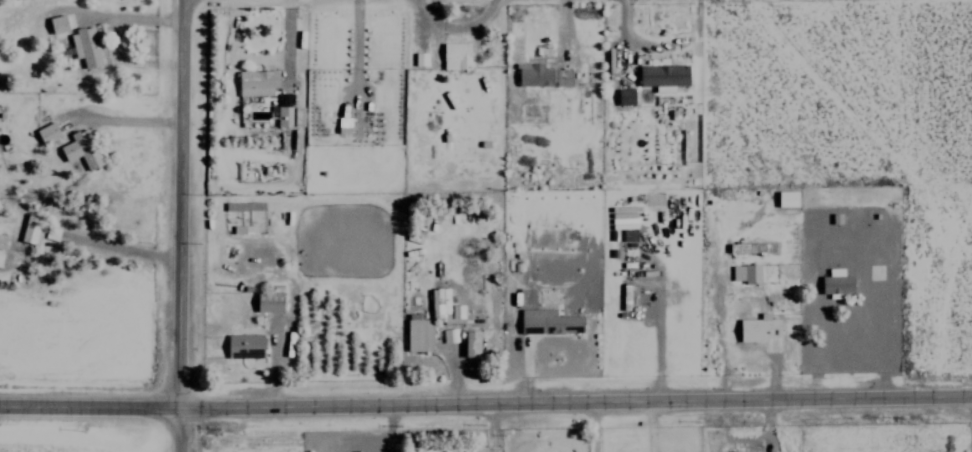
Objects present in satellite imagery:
building: (57, 23)
building: (85, 46)
building: (455, 55)
building: (419, 58)
building: (542, 75)
building: (663, 76)
building: (257, 82)
building: (625, 96)
building: (290, 116)
building: (47, 132)
building: (82, 149)
building: (787, 198)
road: (179, 204)
building: (32, 229)
building: (244, 229)
building: (2, 240)
building: (746, 247)
building: (0, 257)
building: (751, 273)
building: (837, 284)
building: (269, 301)
building: (440, 304)
building: (456, 311)
building: (549, 321)
building: (759, 328)
building: (418, 333)
building: (448, 335)
building: (471, 343)
building: (244, 345)
road: (485, 399)
road: (182, 430)

